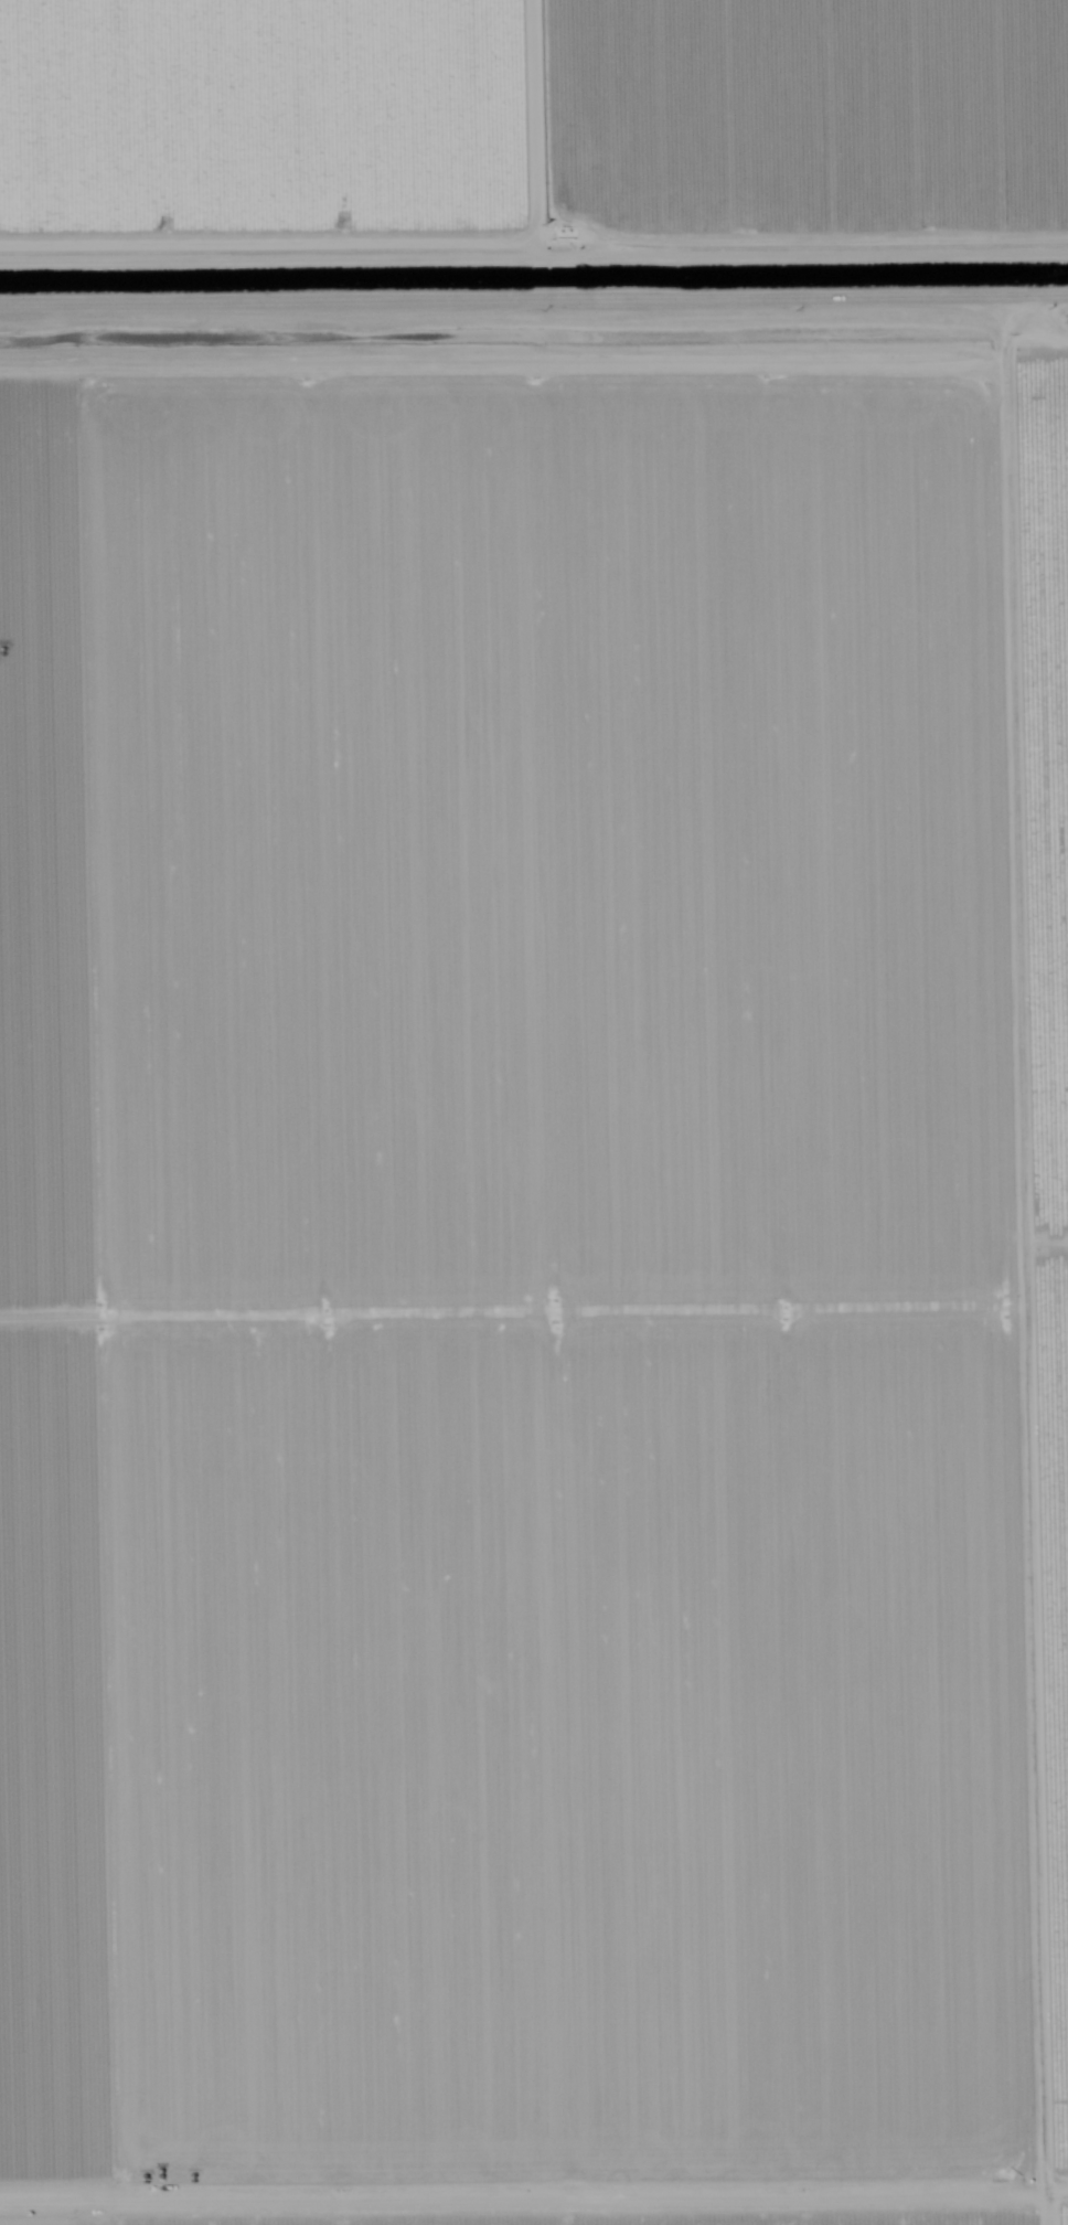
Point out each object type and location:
crop: (534, 121)
road: (533, 330)
crop: (1058, 871)
road: (1051, 1275)
crop: (527, 1279)
crop: (631, 2216)

